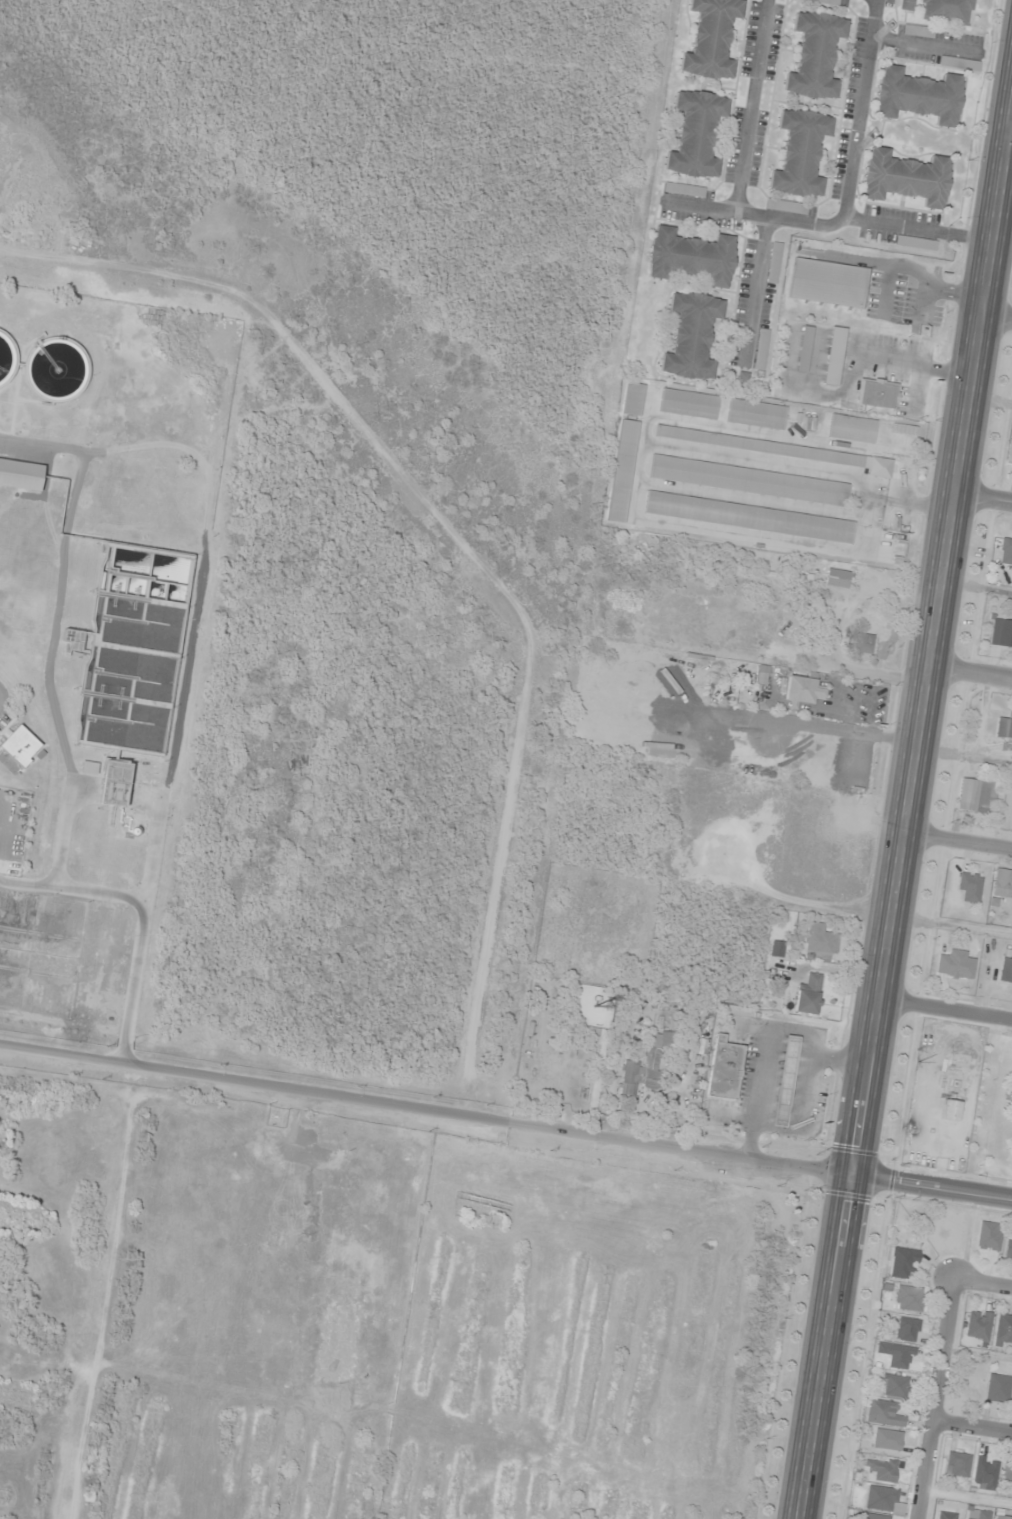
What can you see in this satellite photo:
building: (906, 5)
building: (946, 12)
building: (917, 31)
building: (710, 39)
road: (921, 43)
building: (814, 56)
building: (948, 62)
building: (917, 96)
road: (749, 106)
building: (695, 134)
road: (1011, 147)
building: (799, 153)
road: (850, 163)
building: (905, 178)
building: (683, 190)
road: (696, 206)
building: (786, 206)
road: (918, 229)
building: (915, 243)
building: (690, 257)
building: (773, 263)
building: (827, 283)
road: (754, 291)
road: (999, 317)
building: (690, 335)
building: (804, 348)
building: (760, 349)
building: (833, 356)
building: (741, 380)
building: (876, 395)
building: (632, 400)
building: (688, 404)
building: (756, 414)
building: (851, 428)
building: (779, 451)
building: (621, 471)
building: (747, 482)
road: (986, 499)
building: (748, 519)
building: (1005, 552)
building: (837, 578)
building: (1001, 633)
wastewater plant: (96, 634)
building: (862, 643)
road: (973, 675)
building: (801, 691)
building: (1004, 727)
building: (20, 746)
building: (974, 795)
road: (911, 829)
road: (961, 841)
building: (1002, 884)
building: (969, 887)
building: (818, 943)
wastewater plant: (64, 955)
building: (1005, 971)
building: (807, 995)
road: (949, 1014)
road: (772, 1034)
building: (643, 1066)
building: (723, 1069)
building: (784, 1081)
building: (949, 1110)
road: (799, 1117)
road: (505, 1129)
traffic signals: (861, 1177)
building: (988, 1235)
building: (1007, 1250)
building: (902, 1263)
road: (984, 1287)
building: (907, 1298)
building: (977, 1326)
building: (906, 1329)
building: (1003, 1330)
building: (895, 1354)
building: (892, 1386)
building: (997, 1388)
road: (937, 1401)
building: (883, 1413)
road: (973, 1431)
building: (956, 1464)
building: (882, 1469)
building: (984, 1473)
building: (1007, 1473)
building: (883, 1500)
building: (977, 1514)
building: (947, 1516)
building: (874, 1517)
building: (1002, 1517)

